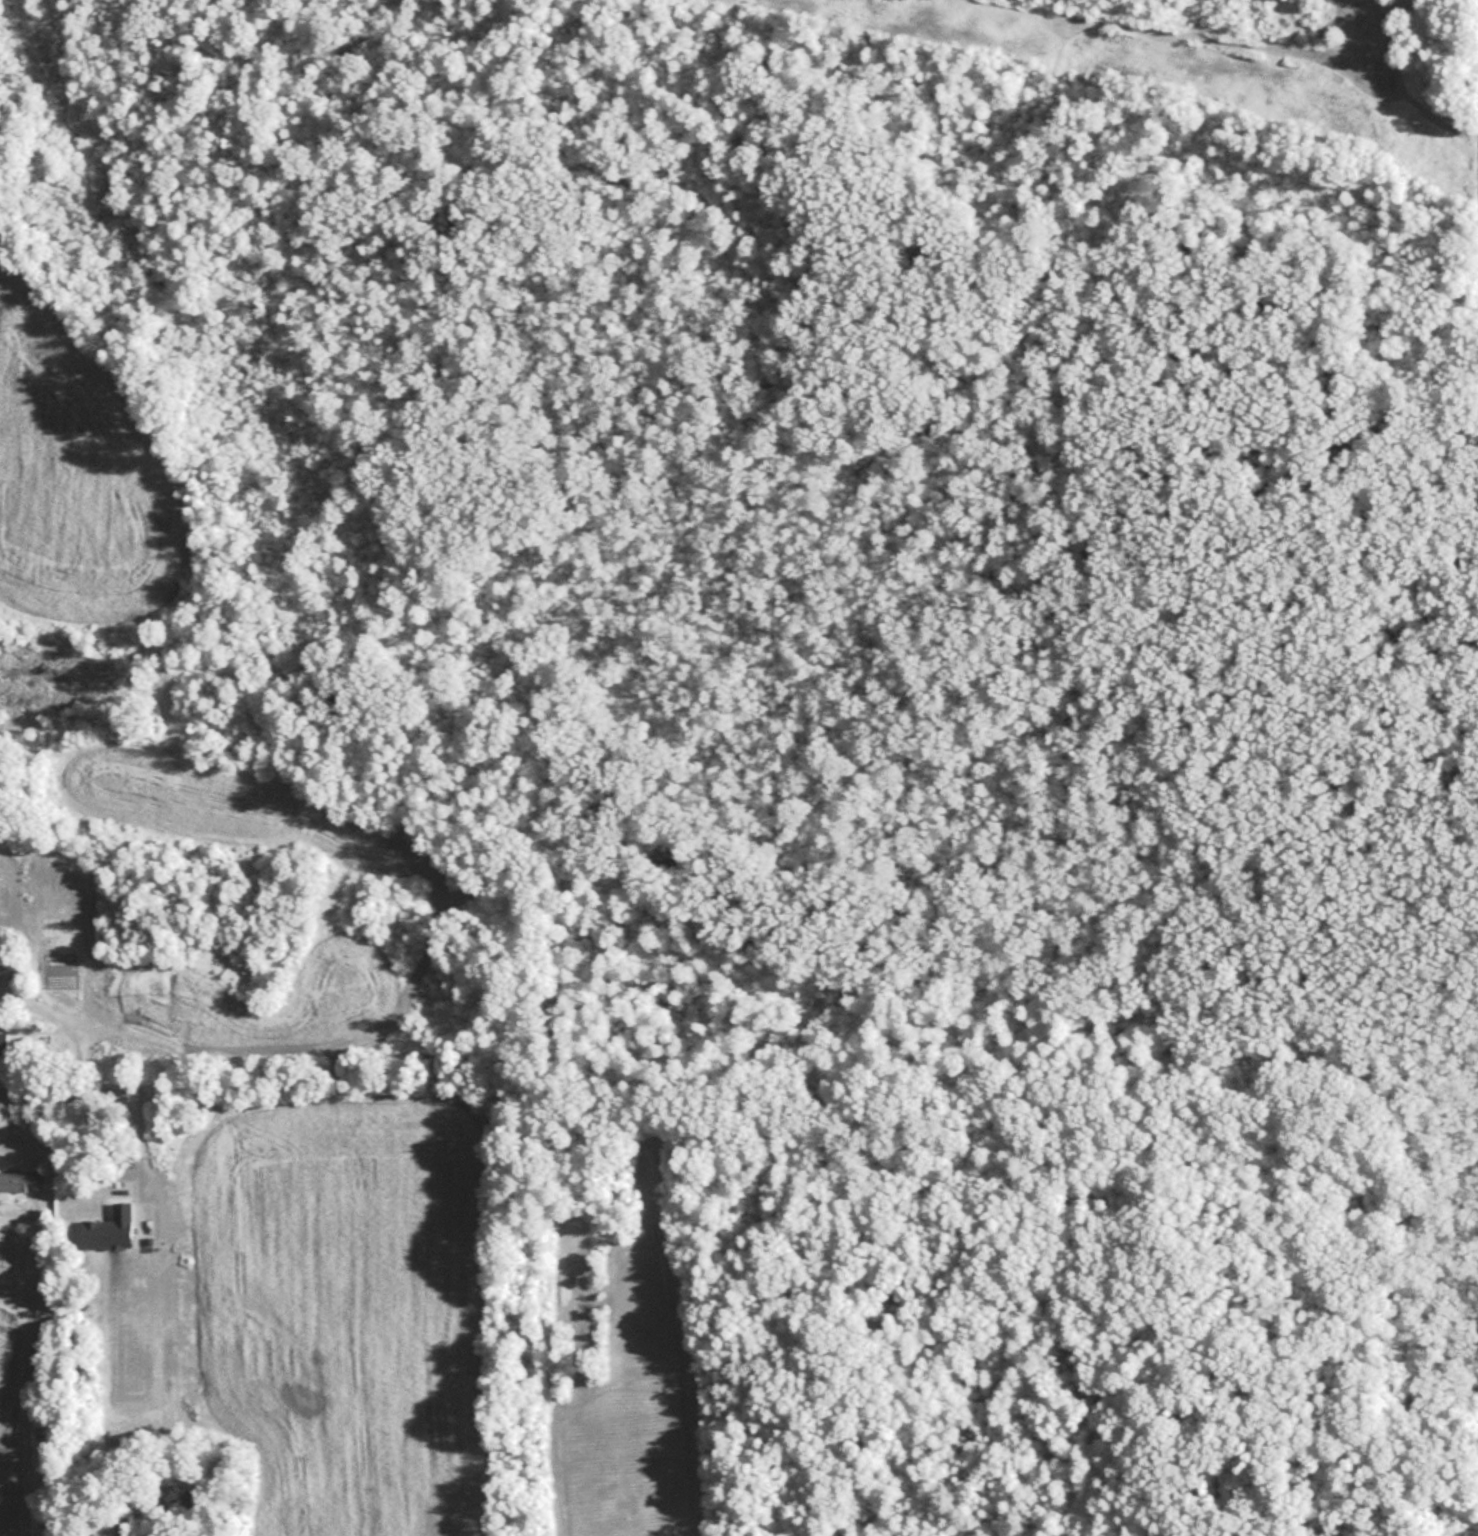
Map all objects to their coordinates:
road: (97, 1090)
building: (17, 1182)

